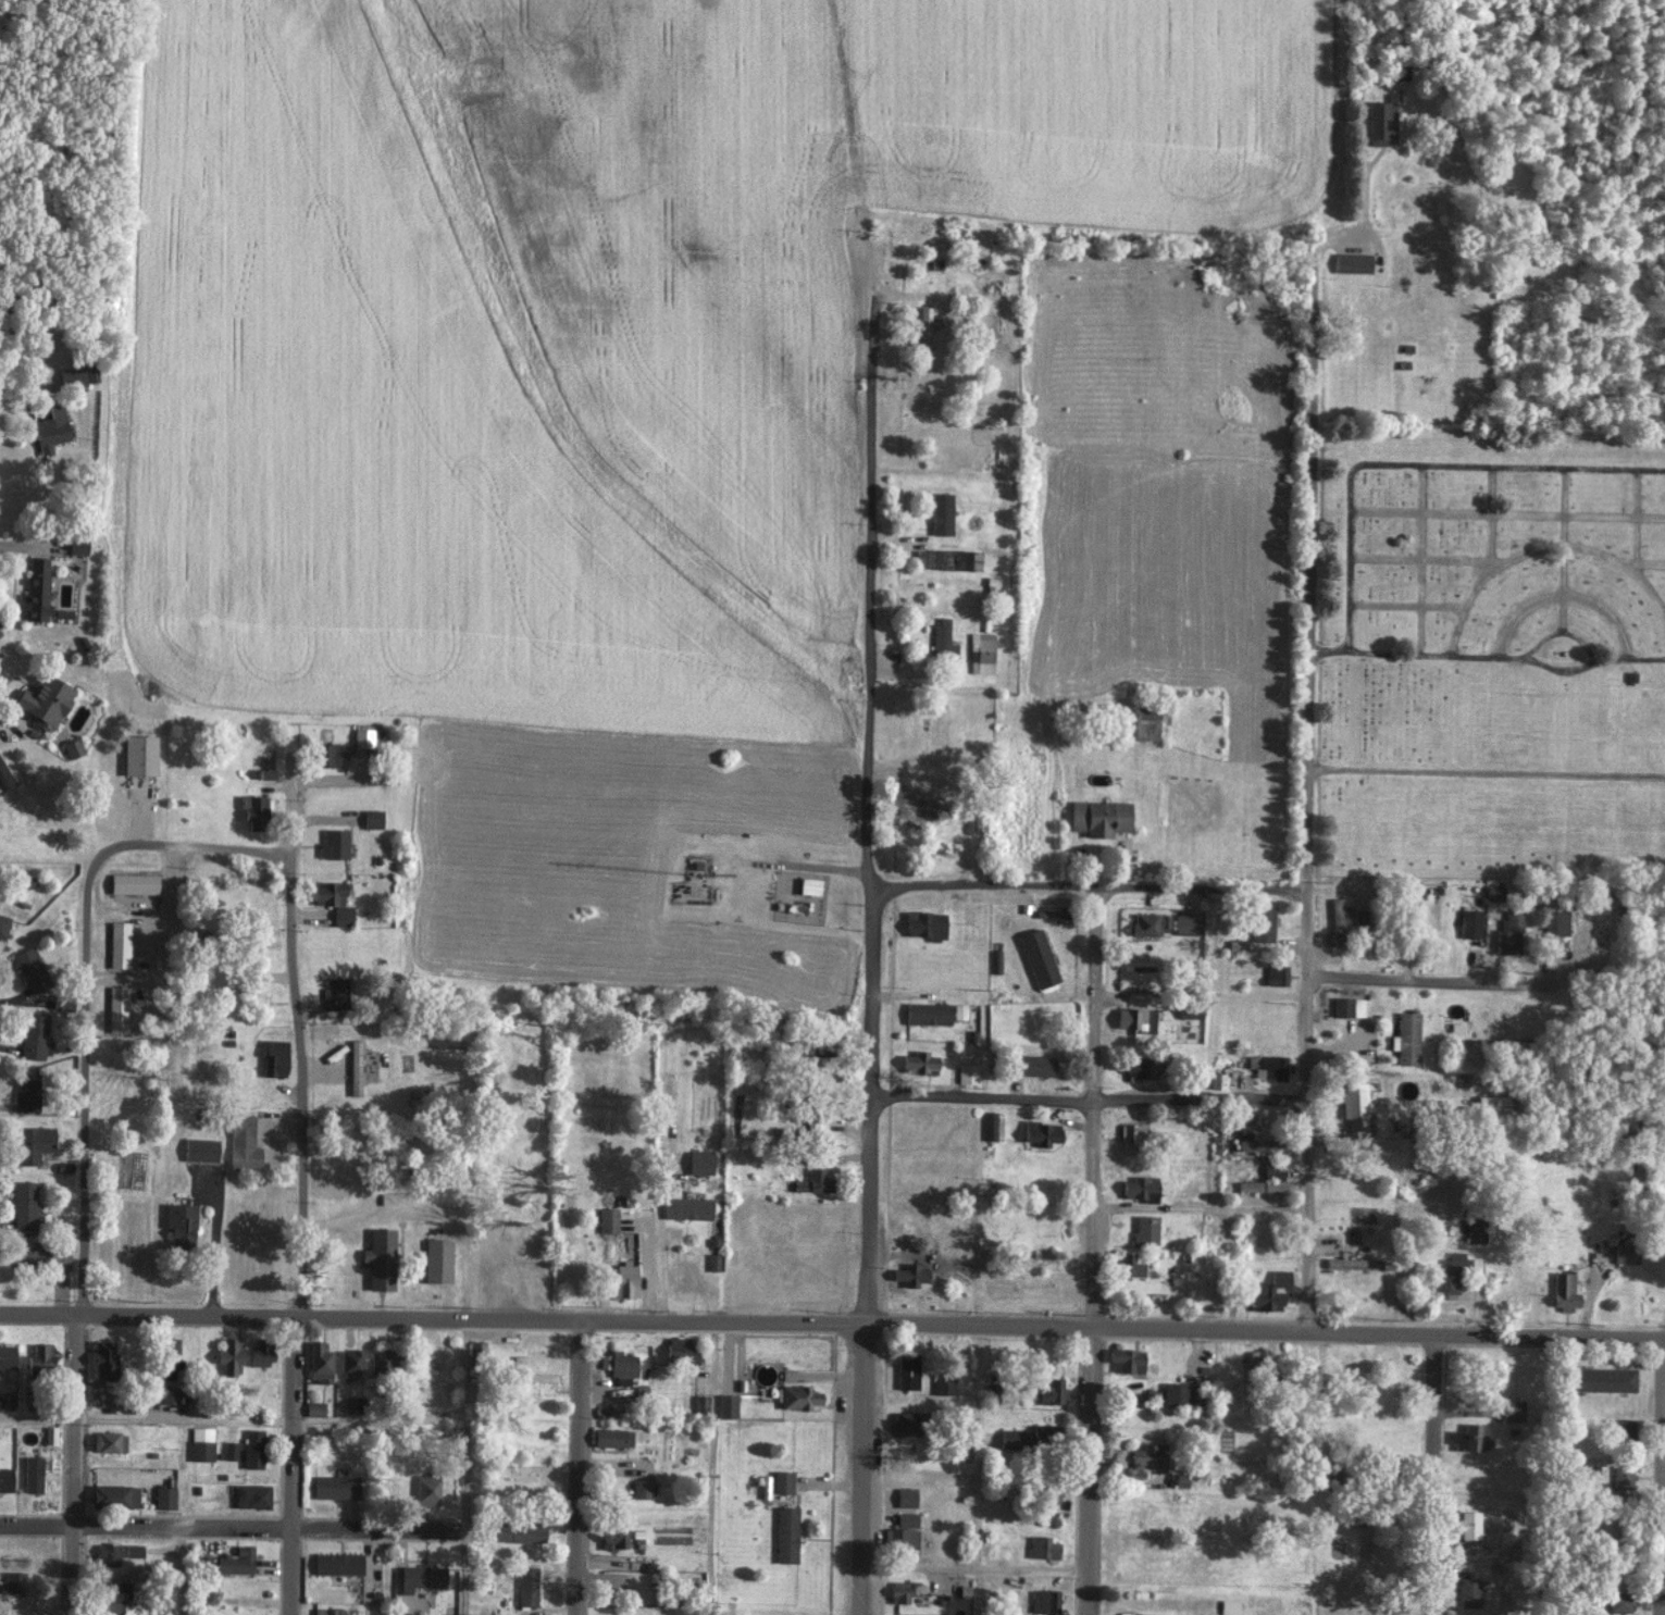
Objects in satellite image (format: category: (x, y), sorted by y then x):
building: (1382, 122)
building: (1352, 262)
building: (923, 334)
building: (90, 374)
building: (72, 376)
building: (50, 430)
road: (1414, 463)
building: (941, 513)
building: (77, 545)
building: (942, 558)
building: (35, 589)
park: (1492, 617)
building: (942, 638)
building: (981, 654)
road: (1494, 657)
road: (1558, 671)
building: (42, 701)
building: (1145, 723)
building: (362, 737)
building: (71, 748)
building: (330, 755)
building: (138, 756)
building: (264, 773)
road: (1486, 773)
road: (1306, 795)
road: (870, 808)
building: (912, 808)
building: (253, 811)
building: (1099, 816)
building: (372, 818)
building: (333, 842)
road: (172, 843)
building: (133, 882)
road: (1090, 885)
building: (327, 892)
building: (1493, 892)
building: (341, 915)
building: (1357, 919)
building: (1555, 920)
building: (1263, 921)
building: (1150, 922)
building: (1337, 922)
building: (1469, 922)
building: (925, 923)
building: (1186, 923)
building: (3, 924)
building: (1509, 932)
building: (117, 943)
building: (1237, 945)
building: (1037, 957)
building: (29, 969)
building: (1276, 973)
road: (1397, 980)
building: (334, 993)
building: (1347, 1006)
building: (116, 1008)
building: (1189, 1010)
building: (928, 1013)
building: (1134, 1017)
building: (34, 1035)
building: (1406, 1036)
building: (273, 1057)
building: (919, 1061)
building: (1267, 1065)
building: (355, 1066)
building: (1140, 1067)
building: (967, 1072)
building: (26, 1091)
road: (1088, 1097)
road: (83, 1103)
building: (1492, 1103)
building: (1353, 1104)
building: (989, 1125)
building: (1041, 1132)
building: (1130, 1136)
building: (32, 1142)
building: (243, 1143)
building: (1259, 1143)
building: (200, 1148)
road: (298, 1154)
building: (699, 1161)
building: (1273, 1169)
building: (812, 1180)
building: (1262, 1184)
building: (1139, 1187)
building: (22, 1204)
building: (686, 1207)
road: (1201, 1208)
building: (607, 1219)
building: (179, 1221)
building: (1144, 1229)
building: (1475, 1229)
road: (659, 1243)
road: (1092, 1251)
building: (1625, 1253)
building: (40, 1257)
building: (378, 1257)
building: (436, 1259)
building: (1353, 1263)
building: (1130, 1265)
road: (647, 1268)
building: (910, 1274)
building: (1449, 1276)
building: (623, 1279)
building: (1268, 1290)
building: (1564, 1291)
road: (832, 1324)
building: (680, 1350)
building: (260, 1352)
building: (39, 1354)
building: (229, 1355)
building: (7, 1356)
building: (169, 1356)
building: (103, 1358)
building: (381, 1358)
building: (1126, 1359)
building: (319, 1361)
building: (350, 1361)
building: (621, 1367)
building: (906, 1370)
building: (1601, 1378)
building: (943, 1382)
building: (1051, 1389)
building: (169, 1393)
building: (1176, 1393)
building: (798, 1396)
building: (350, 1403)
building: (726, 1405)
building: (314, 1408)
building: (1512, 1409)
road: (234, 1420)
building: (904, 1421)
building: (1620, 1428)
building: (1037, 1430)
building: (49, 1433)
building: (611, 1437)
building: (1010, 1438)
building: (1467, 1438)
building: (108, 1441)
building: (200, 1443)
building: (252, 1448)
building: (229, 1450)
building: (1148, 1456)
road: (72, 1464)
road: (465, 1467)
road: (576, 1467)
road: (863, 1469)
building: (32, 1474)
road: (1430, 1475)
building: (1621, 1475)
road: (1656, 1476)
building: (4, 1478)
building: (781, 1481)
building: (334, 1486)
building: (642, 1488)
building: (426, 1489)
building: (1049, 1493)
building: (251, 1494)
building: (114, 1495)
building: (905, 1495)
building: (163, 1496)
building: (906, 1518)
building: (1469, 1524)
road: (237, 1527)
building: (517, 1529)
building: (785, 1535)
building: (612, 1536)
building: (900, 1538)
building: (1042, 1546)
building: (133, 1550)
building: (107, 1553)
building: (235, 1561)
building: (203, 1562)
building: (337, 1563)
road: (181, 1570)
road: (974, 1570)
building: (421, 1576)
building: (12, 1581)
building: (526, 1586)
building: (902, 1590)
building: (1468, 1593)
building: (112, 1595)
building: (1044, 1601)
building: (1619, 1601)
building: (1229, 1606)
building: (323, 1611)
building: (1147, 1614)

